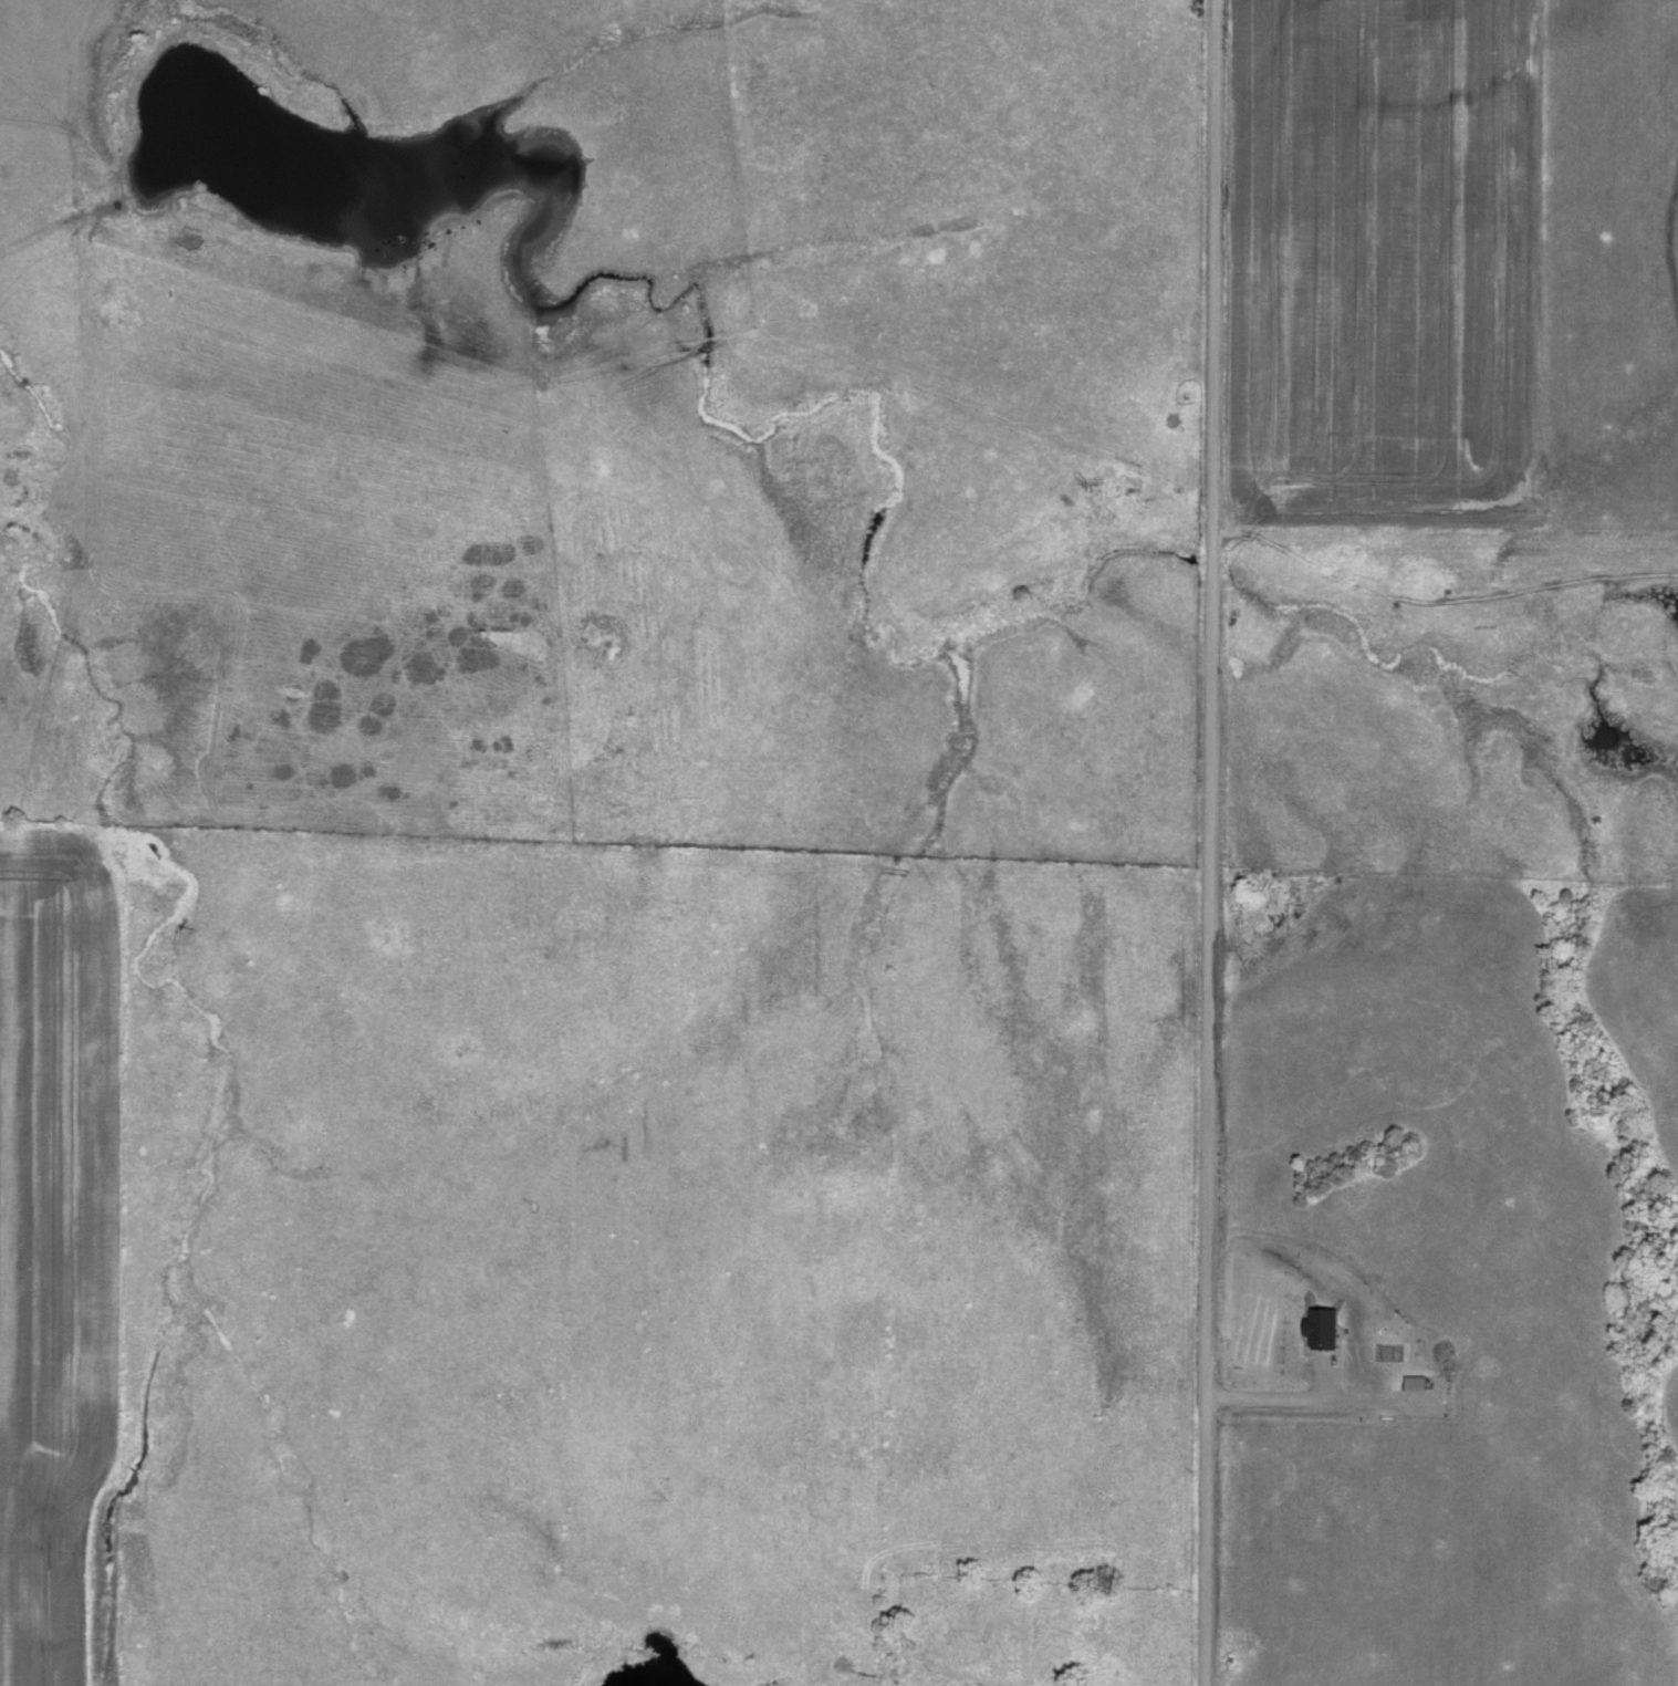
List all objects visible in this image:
road: (1209, 842)
building: (1327, 1326)
building: (1420, 1381)

